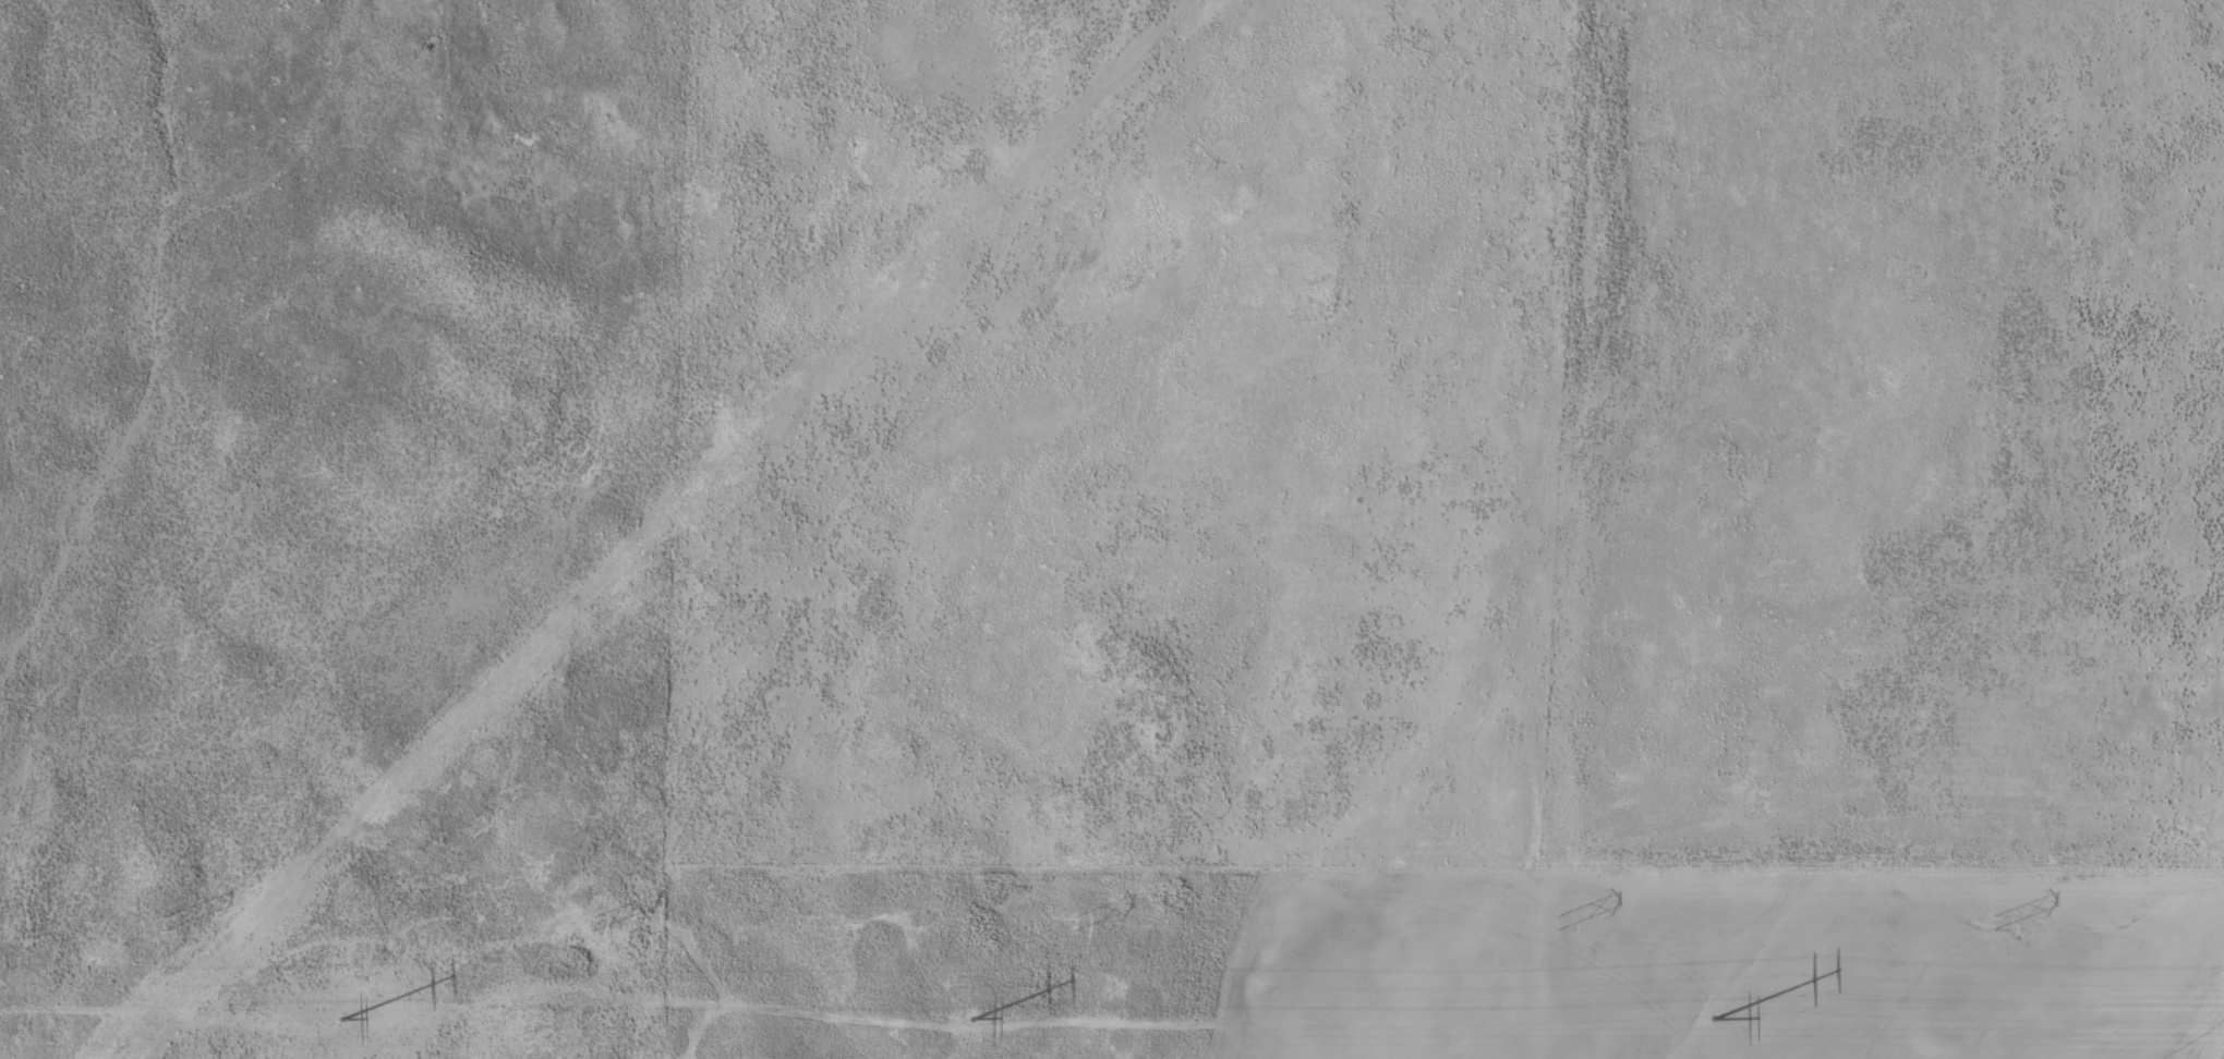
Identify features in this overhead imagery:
power tower: (585, 921)
power tower: (1990, 921)
power tower: (1068, 922)
power tower: (1556, 922)
power tower: (155, 924)
power tower: (342, 1017)
power tower: (972, 1017)
power tower: (1712, 1018)

